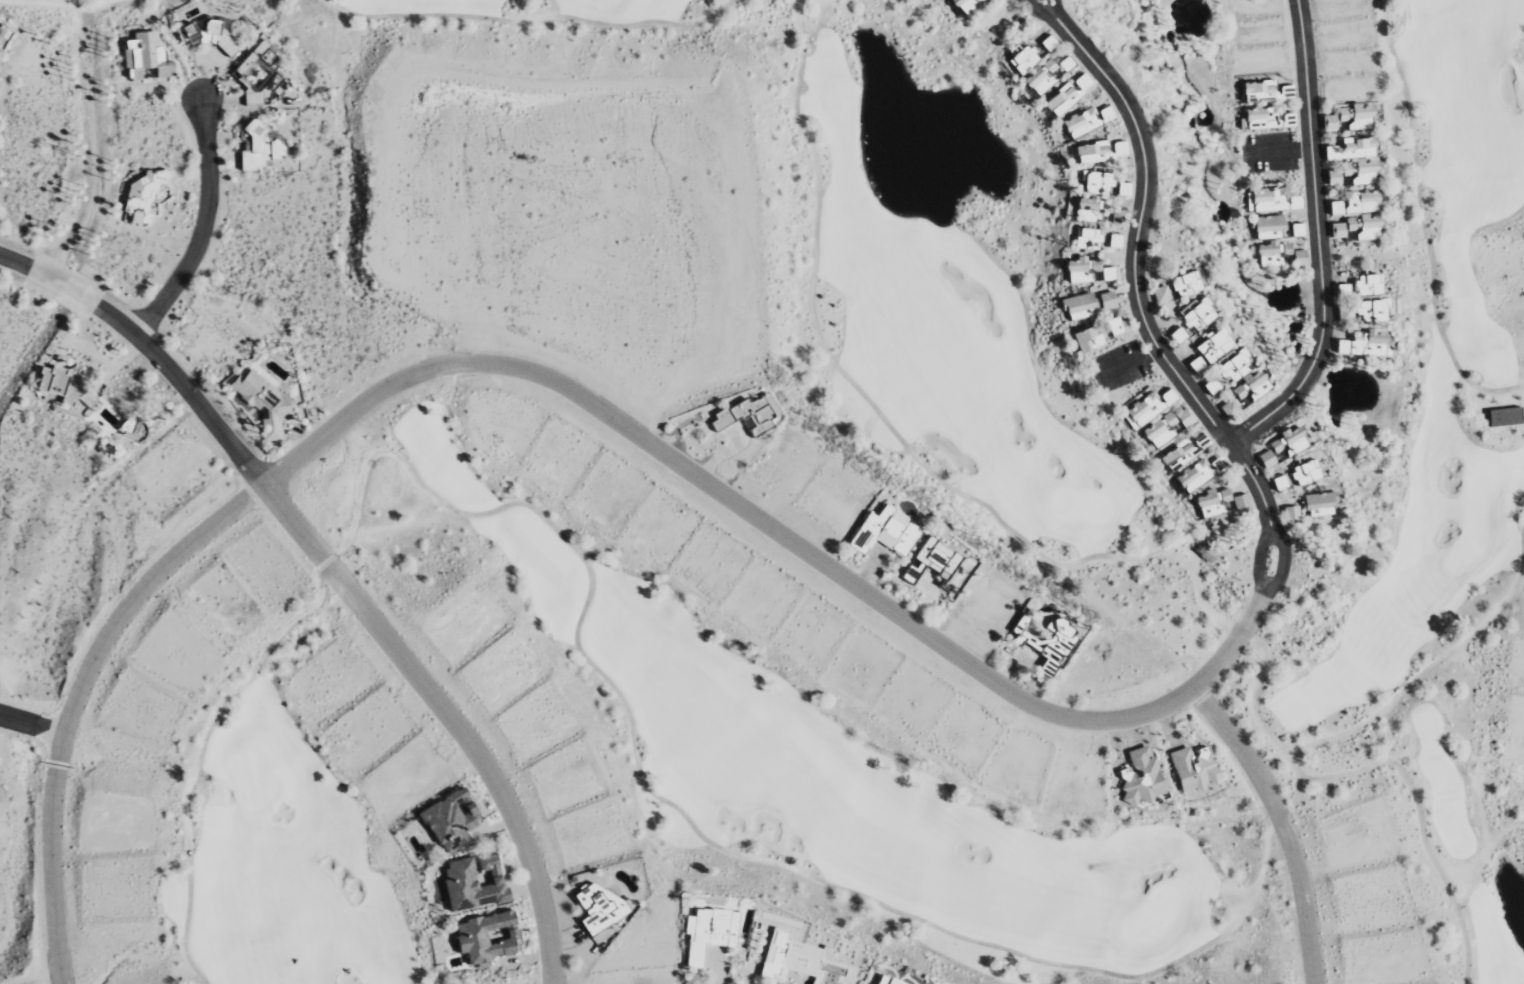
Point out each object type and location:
building: (965, 5)
park: (65, 8)
building: (216, 35)
building: (0, 41)
building: (1049, 43)
building: (0, 50)
building: (146, 55)
building: (1023, 59)
building: (1066, 64)
building: (262, 74)
building: (1041, 78)
building: (1083, 82)
building: (1259, 90)
building: (1062, 100)
building: (1106, 114)
building: (1344, 114)
building: (1361, 117)
building: (1260, 118)
building: (1081, 123)
building: (1330, 123)
building: (256, 146)
building: (1121, 148)
building: (1353, 149)
building: (1093, 152)
building: (1355, 174)
building: (1096, 182)
building: (1124, 189)
building: (139, 190)
building: (1268, 200)
building: (1363, 201)
building: (1295, 202)
building: (1337, 208)
building: (1352, 224)
building: (1370, 226)
building: (1269, 227)
road: (202, 229)
building: (1298, 230)
building: (1338, 230)
building: (1087, 238)
building: (1115, 241)
road: (1319, 241)
building: (1299, 258)
road: (774, 264)
building: (1077, 270)
building: (1101, 271)
building: (1186, 284)
building: (1344, 289)
building: (1161, 294)
building: (1363, 297)
building: (1107, 301)
building: (1079, 306)
building: (1346, 314)
building: (1198, 315)
building: (1114, 326)
building: (1178, 335)
building: (1088, 339)
building: (1214, 346)
road: (36, 349)
building: (1196, 365)
building: (1234, 367)
building: (58, 378)
building: (1210, 387)
building: (1250, 388)
building: (259, 399)
building: (1149, 406)
building: (1230, 408)
building: (747, 409)
building: (1185, 417)
building: (1506, 417)
building: (1159, 430)
building: (1290, 441)
building: (1184, 452)
building: (1267, 459)
building: (1306, 473)
building: (1279, 483)
park: (1054, 493)
building: (1241, 501)
building: (1214, 502)
building: (1320, 504)
park: (1078, 511)
building: (1291, 513)
park: (1474, 513)
building: (884, 527)
building: (931, 556)
road: (814, 558)
road: (336, 577)
building: (1044, 640)
building: (1191, 773)
building: (1139, 780)
park: (252, 783)
building: (446, 817)
road: (1421, 823)
road: (1283, 824)
building: (471, 882)
building: (599, 900)
park: (1152, 922)
building: (713, 925)
building: (484, 936)
building: (802, 953)
building: (888, 979)
building: (865, 983)

